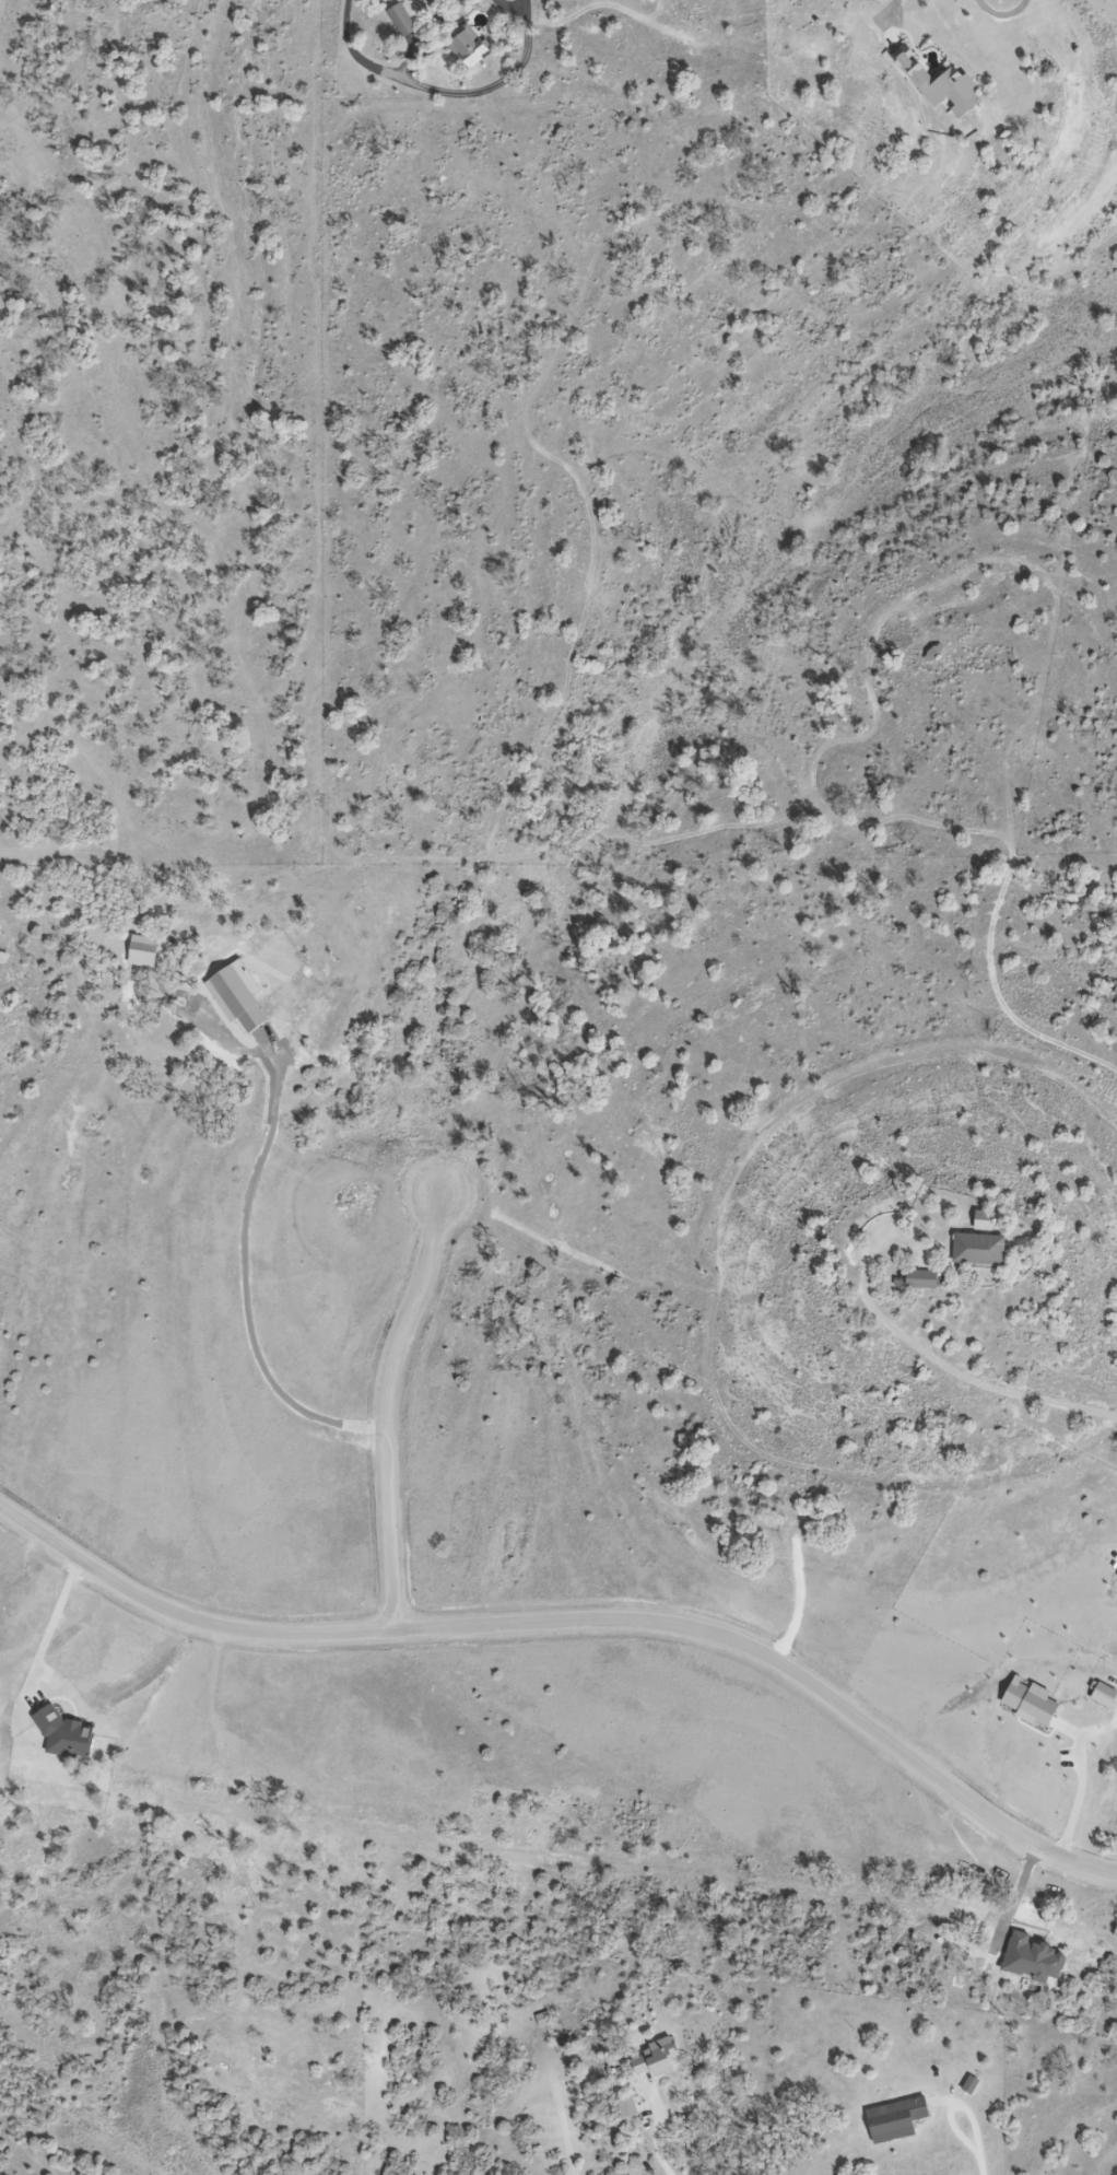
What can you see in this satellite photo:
road: (526, 4)
road: (508, 10)
road: (1003, 14)
building: (404, 21)
building: (472, 45)
building: (948, 84)
road: (438, 92)
building: (984, 1250)
building: (926, 1281)
road: (244, 1294)
road: (950, 1370)
road: (383, 1408)
road: (577, 1621)
road: (1080, 1797)
building: (661, 2057)
building: (898, 2119)
road: (666, 2132)
road: (984, 2150)

